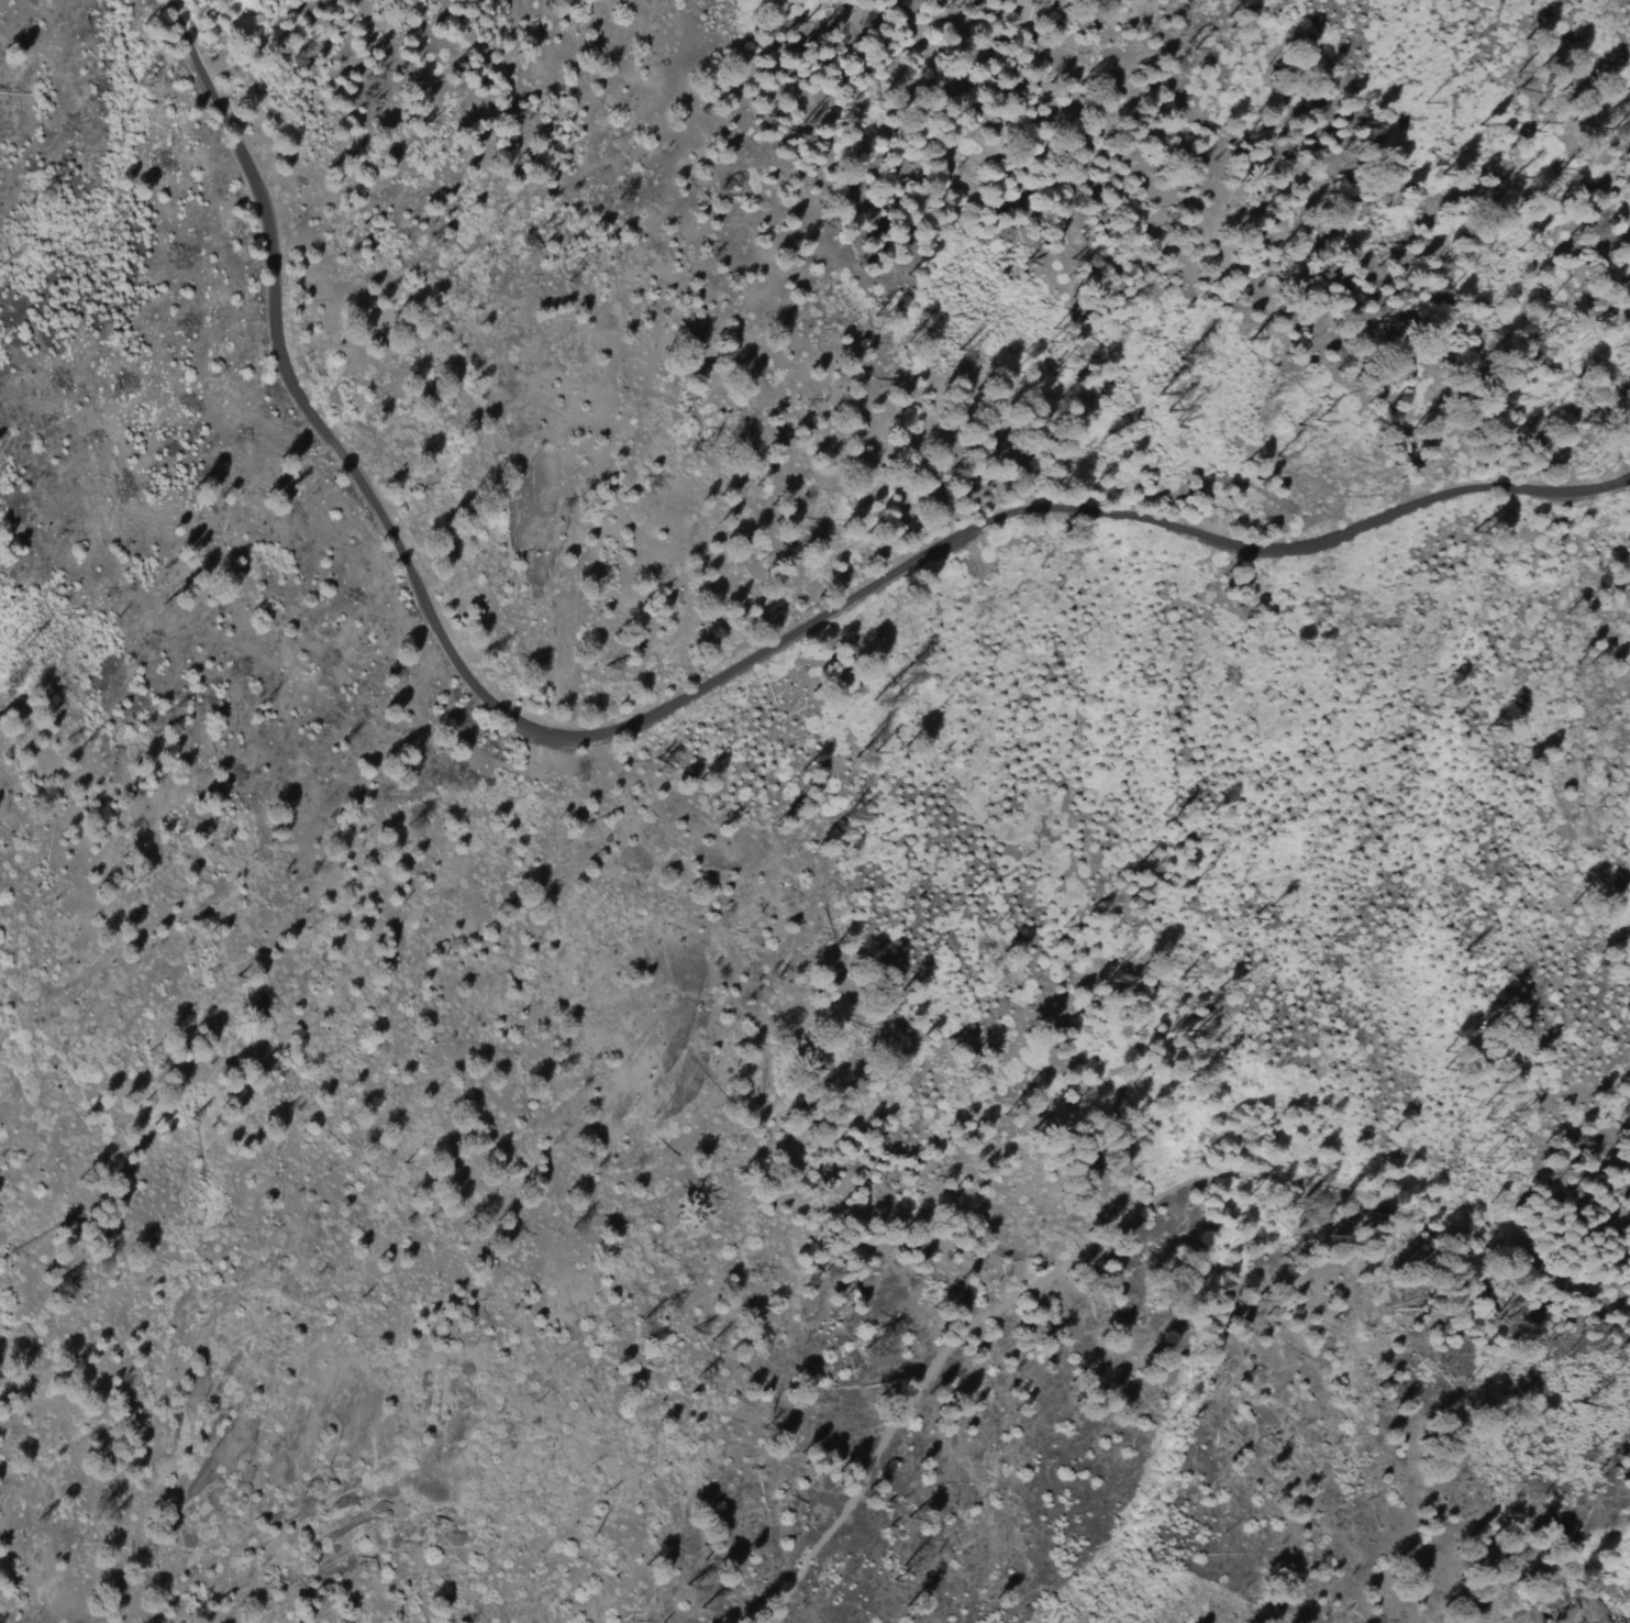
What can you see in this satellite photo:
road: (688, 693)
river: (1592, 1612)

